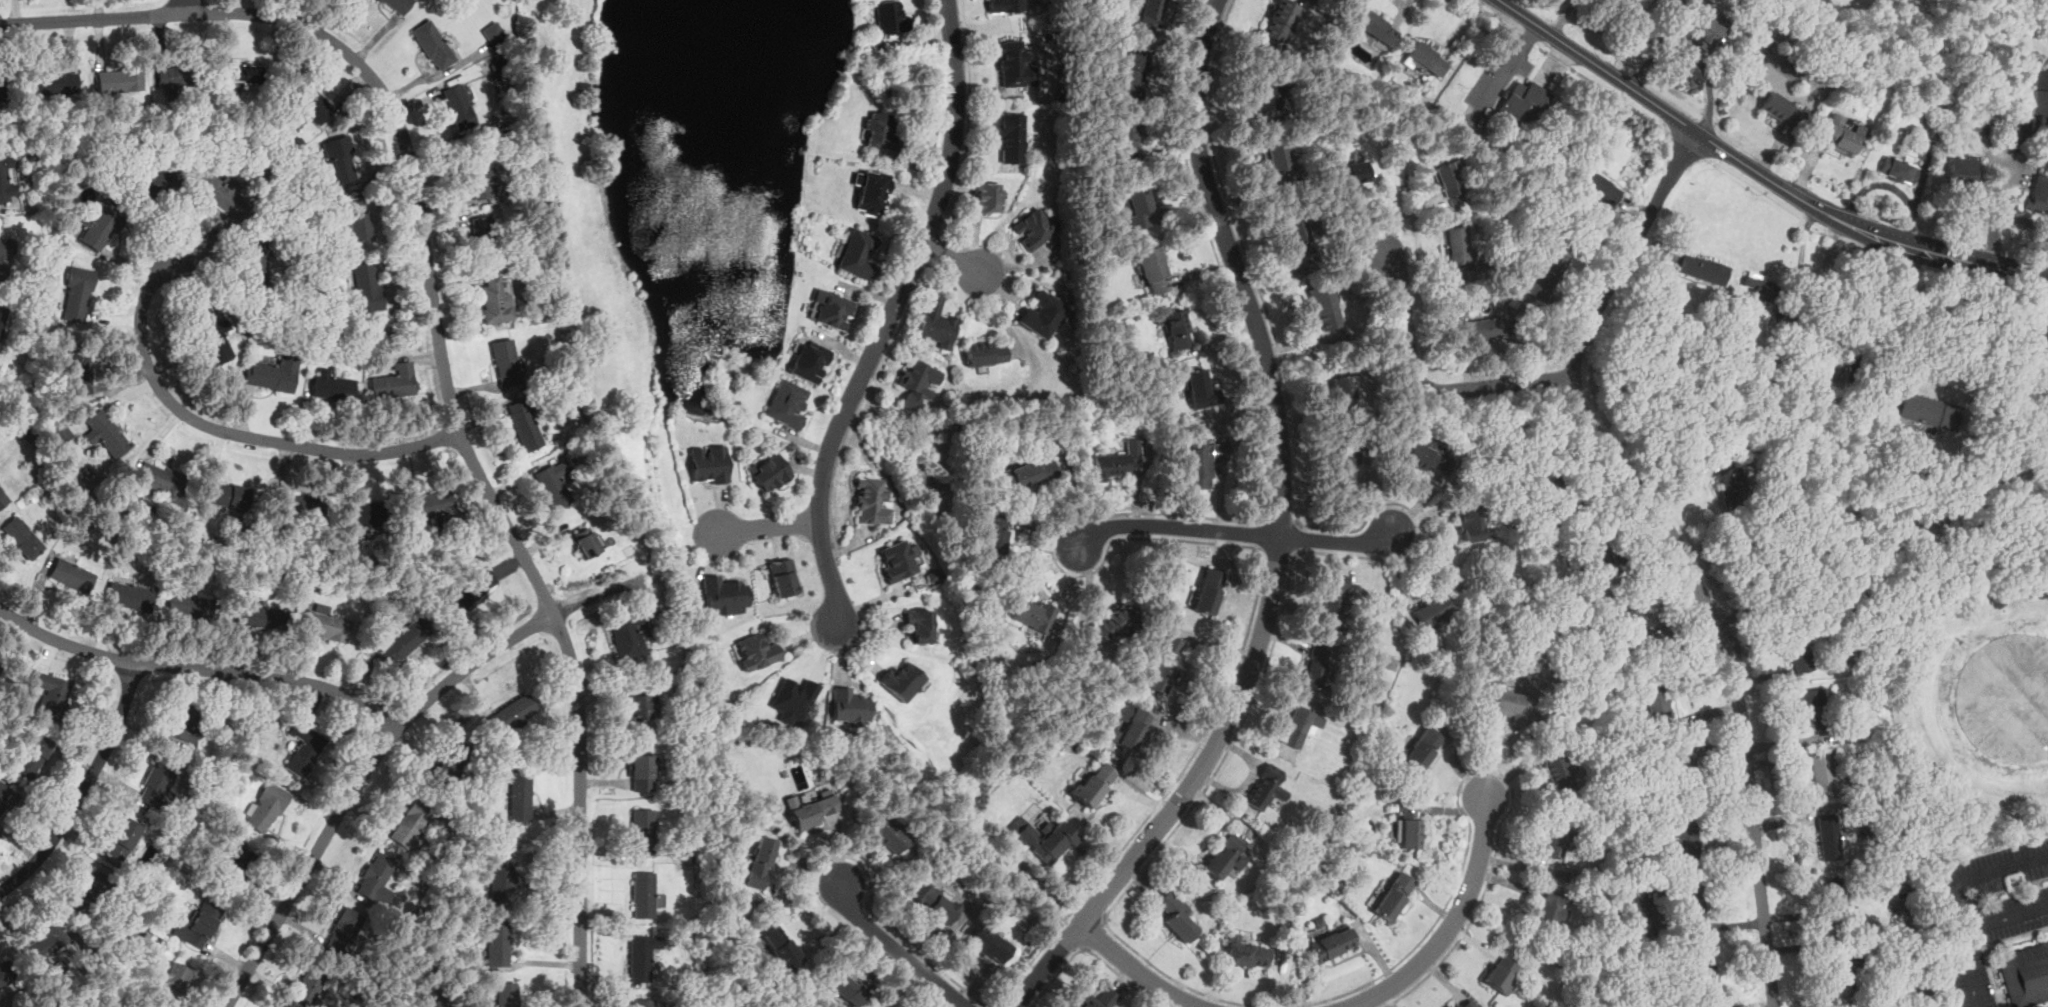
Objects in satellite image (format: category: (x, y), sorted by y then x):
building: (397, 5)
road: (183, 6)
building: (1006, 6)
road: (1403, 12)
building: (1149, 15)
road: (1560, 16)
building: (890, 17)
road: (92, 19)
building: (1280, 19)
building: (1377, 27)
building: (1709, 32)
building: (494, 33)
road: (1632, 37)
road: (1659, 43)
building: (433, 44)
flagpole: (1531, 56)
building: (1422, 60)
building: (1015, 63)
building: (247, 73)
building: (1136, 73)
road: (1705, 74)
building: (174, 75)
building: (119, 79)
building: (55, 82)
building: (2, 88)
building: (1265, 92)
building: (2039, 94)
building: (308, 100)
building: (457, 100)
building: (1522, 101)
building: (1778, 107)
road: (1671, 113)
road: (969, 119)
building: (1982, 124)
building: (876, 129)
building: (2017, 129)
building: (1839, 133)
building: (1930, 133)
building: (1125, 136)
building: (1011, 137)
building: (1276, 161)
building: (341, 163)
building: (1899, 168)
building: (1961, 168)
building: (1353, 171)
building: (1446, 174)
building: (477, 175)
building: (7, 178)
building: (156, 184)
building: (1596, 185)
building: (872, 190)
building: (222, 194)
building: (2037, 194)
building: (985, 198)
building: (1138, 206)
road: (1996, 212)
building: (358, 218)
road: (2022, 219)
building: (100, 227)
road: (1859, 227)
building: (1033, 228)
building: (486, 233)
building: (1298, 234)
building: (1458, 243)
road: (937, 249)
building: (857, 253)
road: (1941, 255)
building: (4, 256)
road: (951, 258)
building: (257, 262)
building: (1702, 268)
building: (1152, 270)
road: (2029, 276)
building: (1546, 278)
building: (1758, 285)
building: (369, 287)
road: (1821, 291)
building: (78, 294)
building: (496, 300)
building: (1323, 308)
building: (833, 309)
building: (1043, 313)
road: (890, 314)
building: (2, 318)
road: (1406, 318)
building: (935, 323)
road: (1905, 327)
building: (1176, 328)
building: (1487, 328)
building: (213, 333)
building: (985, 353)
building: (810, 360)
building: (507, 363)
building: (1846, 366)
building: (82, 369)
building: (274, 372)
building: (395, 381)
building: (916, 382)
building: (332, 385)
road: (1496, 387)
building: (1200, 389)
building: (1343, 389)
road: (866, 401)
building: (787, 403)
building: (562, 410)
building: (1929, 410)
building: (525, 424)
building: (108, 433)
road: (230, 437)
road: (464, 442)
building: (2041, 451)
building: (1428, 457)
building: (1117, 460)
building: (1202, 462)
building: (709, 464)
building: (1346, 464)
building: (770, 471)
building: (1029, 473)
building: (160, 476)
building: (556, 483)
building: (1555, 485)
building: (1732, 485)
building: (229, 493)
building: (4, 497)
building: (155, 498)
building: (872, 502)
building: (431, 505)
building: (299, 507)
building: (364, 514)
road: (1264, 518)
road: (833, 519)
road: (826, 520)
road: (1298, 520)
road: (1281, 521)
building: (1467, 522)
road: (1177, 525)
road: (769, 526)
building: (363, 531)
building: (995, 533)
road: (1265, 534)
road: (1280, 536)
road: (1295, 536)
building: (23, 537)
road: (1336, 541)
building: (586, 543)
road: (1676, 543)
road: (1255, 546)
road: (849, 547)
road: (1262, 550)
road: (1279, 551)
road: (1296, 553)
building: (1597, 553)
building: (897, 561)
building: (73, 574)
building: (784, 577)
building: (1209, 590)
road: (605, 592)
building: (468, 594)
building: (130, 595)
building: (726, 595)
building: (1333, 598)
building: (1996, 599)
building: (189, 606)
building: (1433, 608)
building: (257, 615)
building: (1032, 615)
building: (1118, 619)
building: (326, 623)
building: (1635, 624)
building: (920, 627)
building: (630, 635)
building: (404, 642)
building: (756, 651)
building: (1798, 652)
building: (0, 665)
building: (1165, 666)
building: (0, 667)
building: (1314, 668)
road: (200, 669)
building: (904, 681)
building: (51, 695)
building: (794, 699)
building: (1509, 704)
building: (1656, 704)
building: (850, 705)
building: (1813, 706)
building: (640, 707)
building: (513, 713)
building: (182, 722)
building: (1130, 725)
building: (1299, 725)
building: (305, 748)
building: (1419, 748)
building: (32, 756)
building: (449, 765)
road: (1218, 768)
building: (1558, 770)
building: (642, 772)
building: (1683, 774)
building: (1822, 774)
building: (157, 782)
road: (356, 783)
building: (1093, 784)
building: (1267, 787)
road: (86, 788)
building: (521, 795)
building: (7, 798)
building: (268, 807)
building: (812, 811)
building: (411, 821)
building: (1408, 824)
building: (644, 831)
building: (890, 834)
building: (1044, 837)
building: (1682, 837)
building: (125, 838)
building: (1830, 838)
building: (1553, 840)
building: (1224, 857)
building: (761, 862)
building: (240, 865)
road: (1048, 872)
road: (1975, 874)
building: (376, 878)
building: (503, 879)
road: (794, 890)
building: (92, 893)
building: (1832, 893)
building: (644, 894)
building: (1394, 895)
building: (1691, 895)
building: (933, 900)
road: (799, 906)
building: (1549, 908)
building: (1174, 913)
building: (1633, 914)
road: (1104, 918)
road: (1451, 923)
building: (201, 924)
road: (1967, 929)
building: (344, 930)
road: (1094, 931)
building: (48, 941)
building: (498, 942)
building: (989, 942)
building: (1332, 943)
building: (781, 947)
road: (1087, 947)
road: (898, 950)
road: (1094, 952)
building: (1245, 953)
building: (640, 957)
building: (1701, 963)
building: (1844, 966)
road: (1136, 968)
building: (5, 974)
building: (177, 974)
building: (1500, 974)
building: (2026, 974)
building: (867, 982)
building: (843, 985)
building: (309, 986)
building: (505, 994)
building: (1099, 999)
building: (435, 1002)
building: (642, 1002)
building: (1469, 1003)
road: (991, 1005)
building: (1450, 1006)

